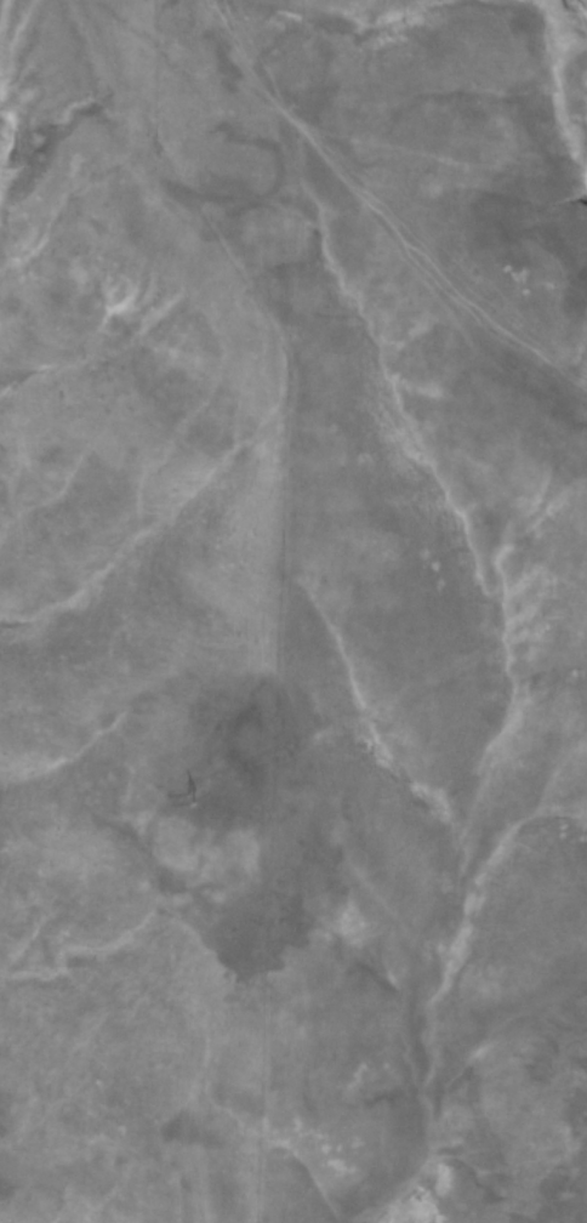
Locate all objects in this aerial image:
power tower: (189, 798)

